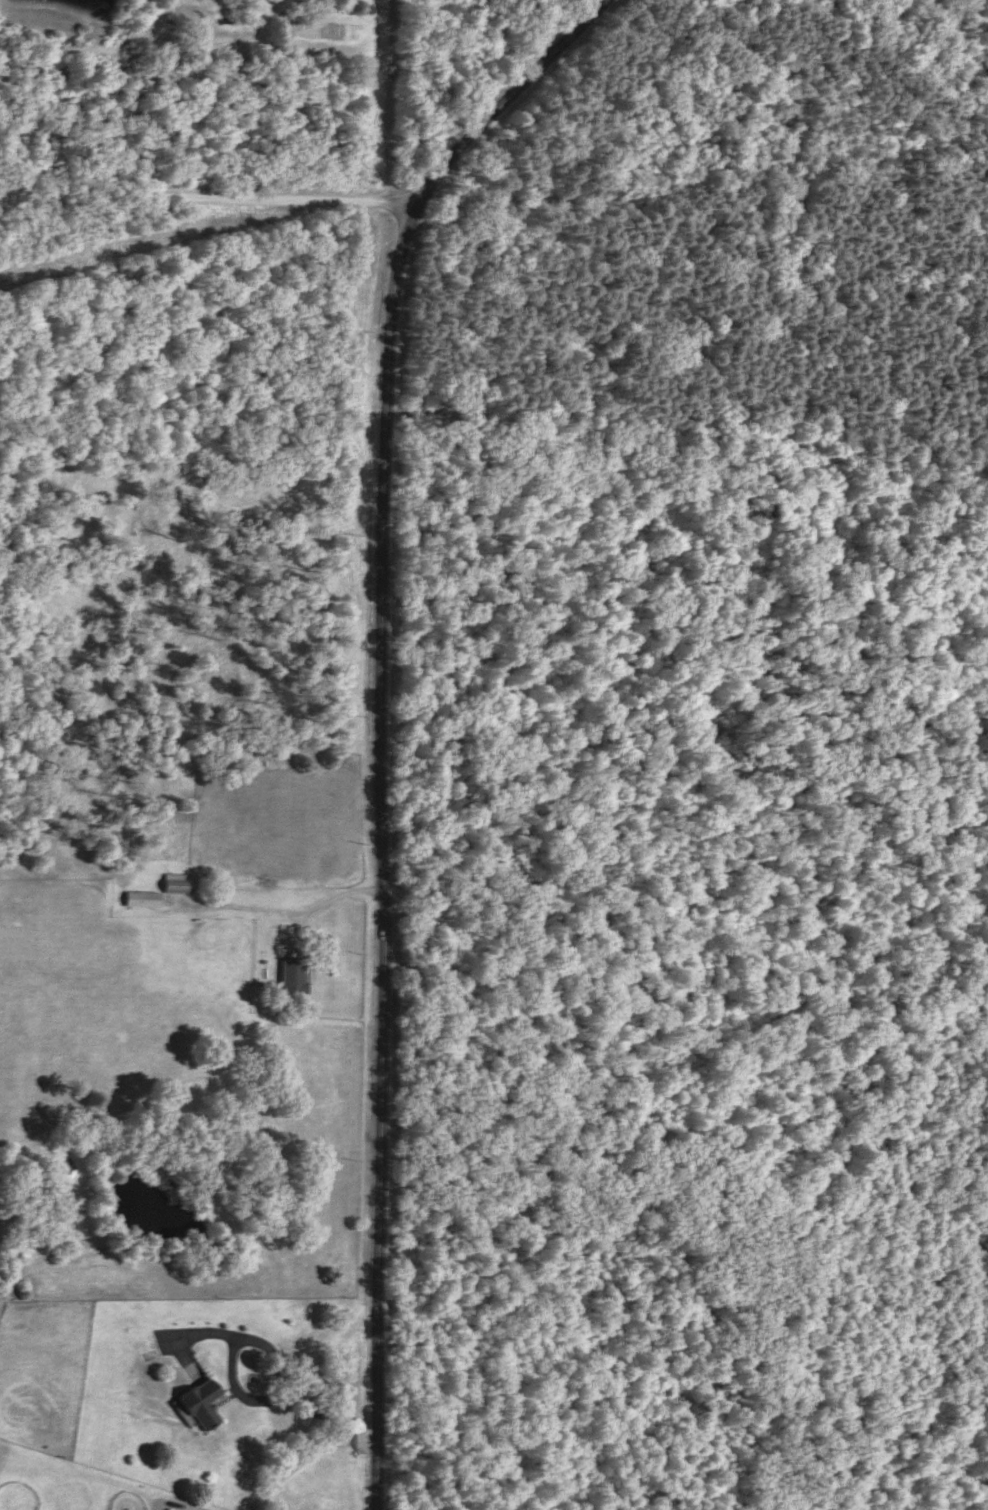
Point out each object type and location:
road: (390, 100)
road: (193, 191)
road: (388, 221)
road: (125, 235)
road: (379, 712)
building: (174, 884)
building: (143, 900)
road: (284, 916)
building: (289, 977)
building: (190, 1403)
road: (306, 1454)

